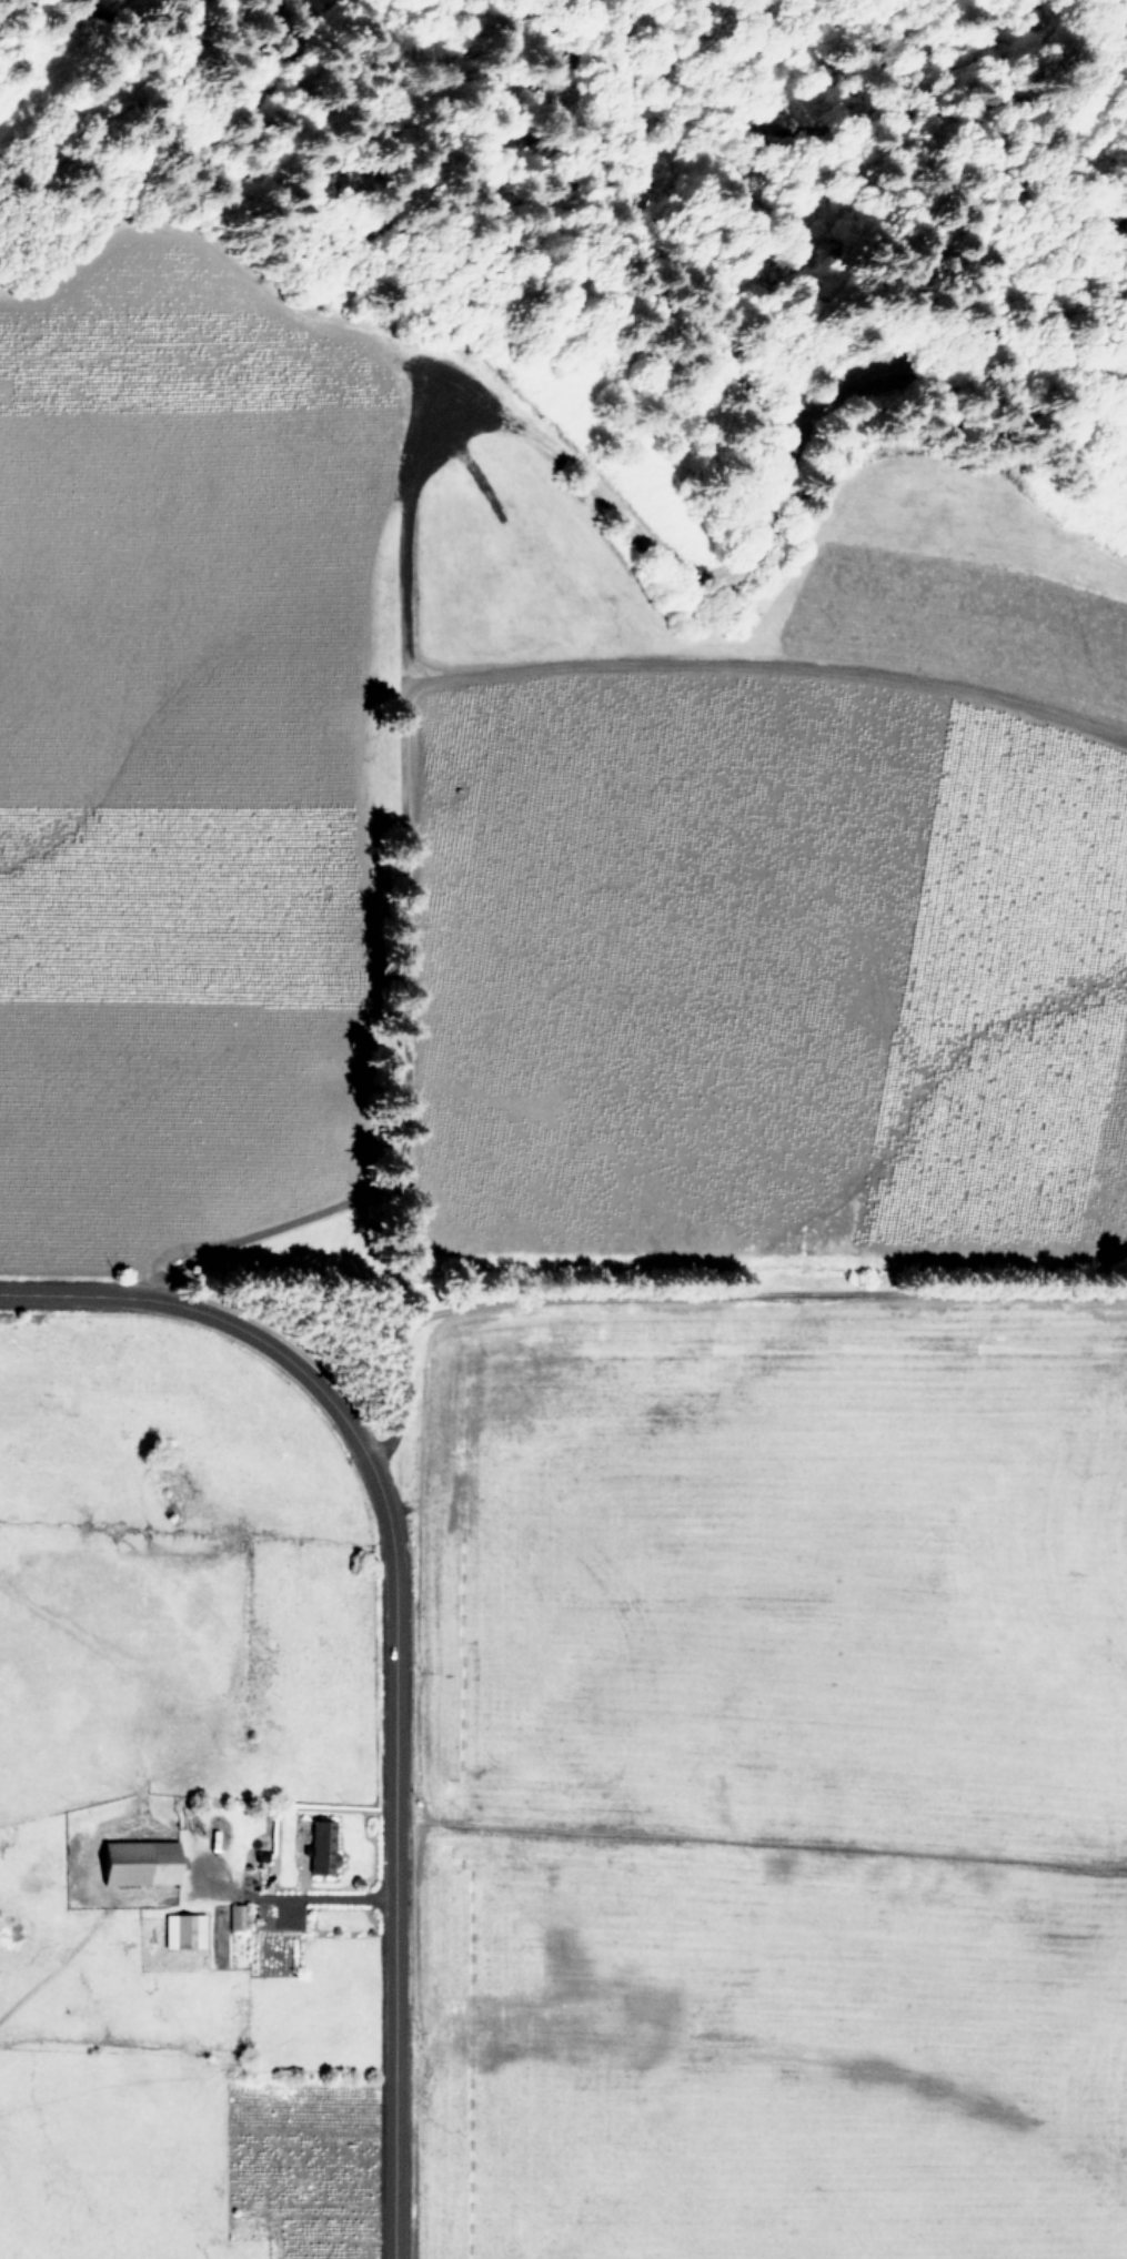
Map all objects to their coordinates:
road: (832, 104)
road: (399, 523)
road: (764, 670)
crop: (500, 857)
road: (701, 1298)
road: (69, 1300)
road: (392, 1714)
crop: (161, 1812)
building: (321, 1845)
building: (139, 1862)
road: (296, 1896)
building: (234, 1916)
building: (183, 1929)

